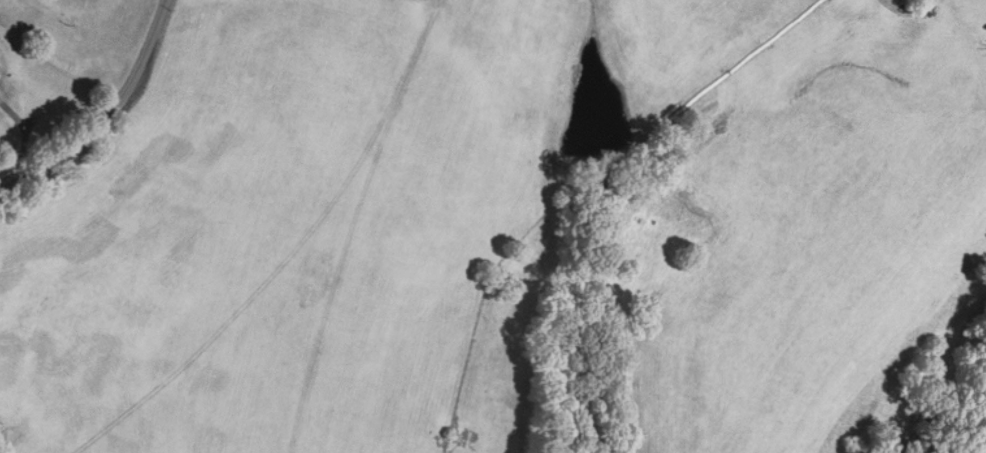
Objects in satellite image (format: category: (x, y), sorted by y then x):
road: (108, 117)

